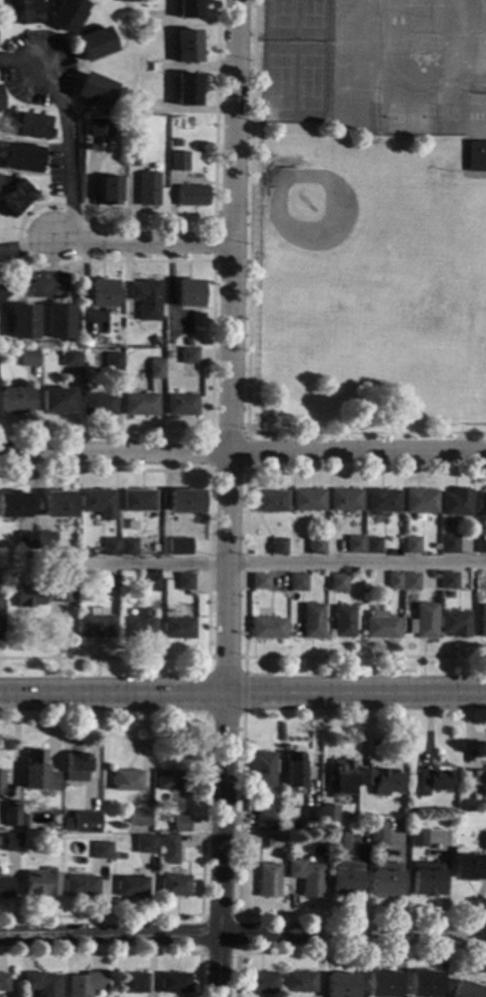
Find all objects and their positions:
building: (125, 1)
building: (188, 9)
building: (27, 12)
building: (67, 14)
park: (425, 24)
building: (94, 45)
building: (187, 47)
park: (436, 49)
park: (295, 60)
building: (95, 90)
building: (186, 90)
building: (0, 108)
road: (435, 115)
park: (411, 118)
building: (31, 126)
building: (98, 128)
building: (177, 144)
building: (476, 157)
road: (461, 158)
building: (22, 159)
building: (131, 159)
road: (68, 161)
building: (178, 162)
building: (146, 189)
building: (109, 191)
building: (192, 196)
building: (15, 198)
park: (324, 231)
road: (142, 240)
road: (73, 261)
park: (368, 283)
building: (3, 293)
building: (103, 294)
building: (189, 294)
park: (463, 295)
building: (147, 300)
park: (344, 302)
building: (24, 322)
building: (59, 323)
road: (248, 336)
building: (139, 343)
building: (87, 344)
building: (189, 344)
building: (189, 357)
building: (29, 358)
building: (71, 358)
building: (113, 362)
building: (156, 369)
park: (482, 370)
building: (15, 401)
building: (57, 401)
building: (98, 405)
building: (141, 405)
building: (182, 405)
road: (256, 424)
road: (243, 456)
road: (209, 471)
road: (227, 498)
building: (345, 500)
building: (271, 501)
building: (308, 501)
building: (383, 501)
building: (98, 502)
building: (138, 502)
building: (185, 502)
building: (420, 502)
building: (456, 504)
building: (482, 504)
building: (14, 505)
building: (59, 505)
building: (26, 541)
building: (46, 541)
building: (355, 545)
building: (372, 545)
building: (449, 545)
building: (316, 546)
building: (411, 546)
building: (482, 546)
building: (111, 547)
building: (179, 547)
building: (279, 547)
building: (129, 548)
road: (208, 563)
road: (283, 565)
road: (243, 566)
building: (394, 581)
building: (448, 581)
building: (109, 582)
building: (184, 582)
building: (260, 582)
building: (410, 582)
building: (150, 583)
building: (298, 583)
building: (338, 583)
building: (322, 590)
building: (43, 595)
building: (312, 622)
building: (482, 622)
building: (343, 623)
building: (423, 623)
building: (95, 624)
building: (455, 624)
building: (137, 626)
building: (381, 627)
building: (177, 628)
building: (267, 629)
road: (206, 667)
road: (242, 686)
road: (243, 693)
road: (222, 729)
building: (75, 766)
building: (262, 769)
building: (292, 769)
building: (38, 772)
building: (341, 776)
building: (480, 777)
building: (169, 779)
building: (380, 779)
building: (434, 779)
building: (125, 780)
building: (0, 782)
building: (311, 813)
building: (328, 813)
building: (11, 814)
building: (137, 818)
building: (264, 819)
building: (23, 820)
building: (86, 821)
building: (67, 823)
building: (180, 823)
building: (379, 837)
building: (419, 837)
building: (273, 839)
building: (11, 840)
building: (338, 840)
building: (484, 841)
building: (168, 842)
building: (144, 843)
road: (237, 844)
building: (100, 849)
building: (119, 856)
building: (466, 864)
building: (305, 876)
building: (343, 877)
building: (384, 878)
building: (426, 878)
building: (267, 879)
building: (41, 882)
building: (173, 884)
building: (79, 885)
building: (130, 886)
building: (6, 887)
road: (199, 901)
road: (241, 934)
road: (254, 952)
road: (121, 953)
road: (199, 953)
building: (3, 981)
building: (262, 981)
building: (298, 981)
building: (130, 982)
building: (173, 982)
building: (41, 983)
building: (84, 983)
building: (423, 983)
building: (382, 984)
building: (340, 985)
building: (466, 990)

